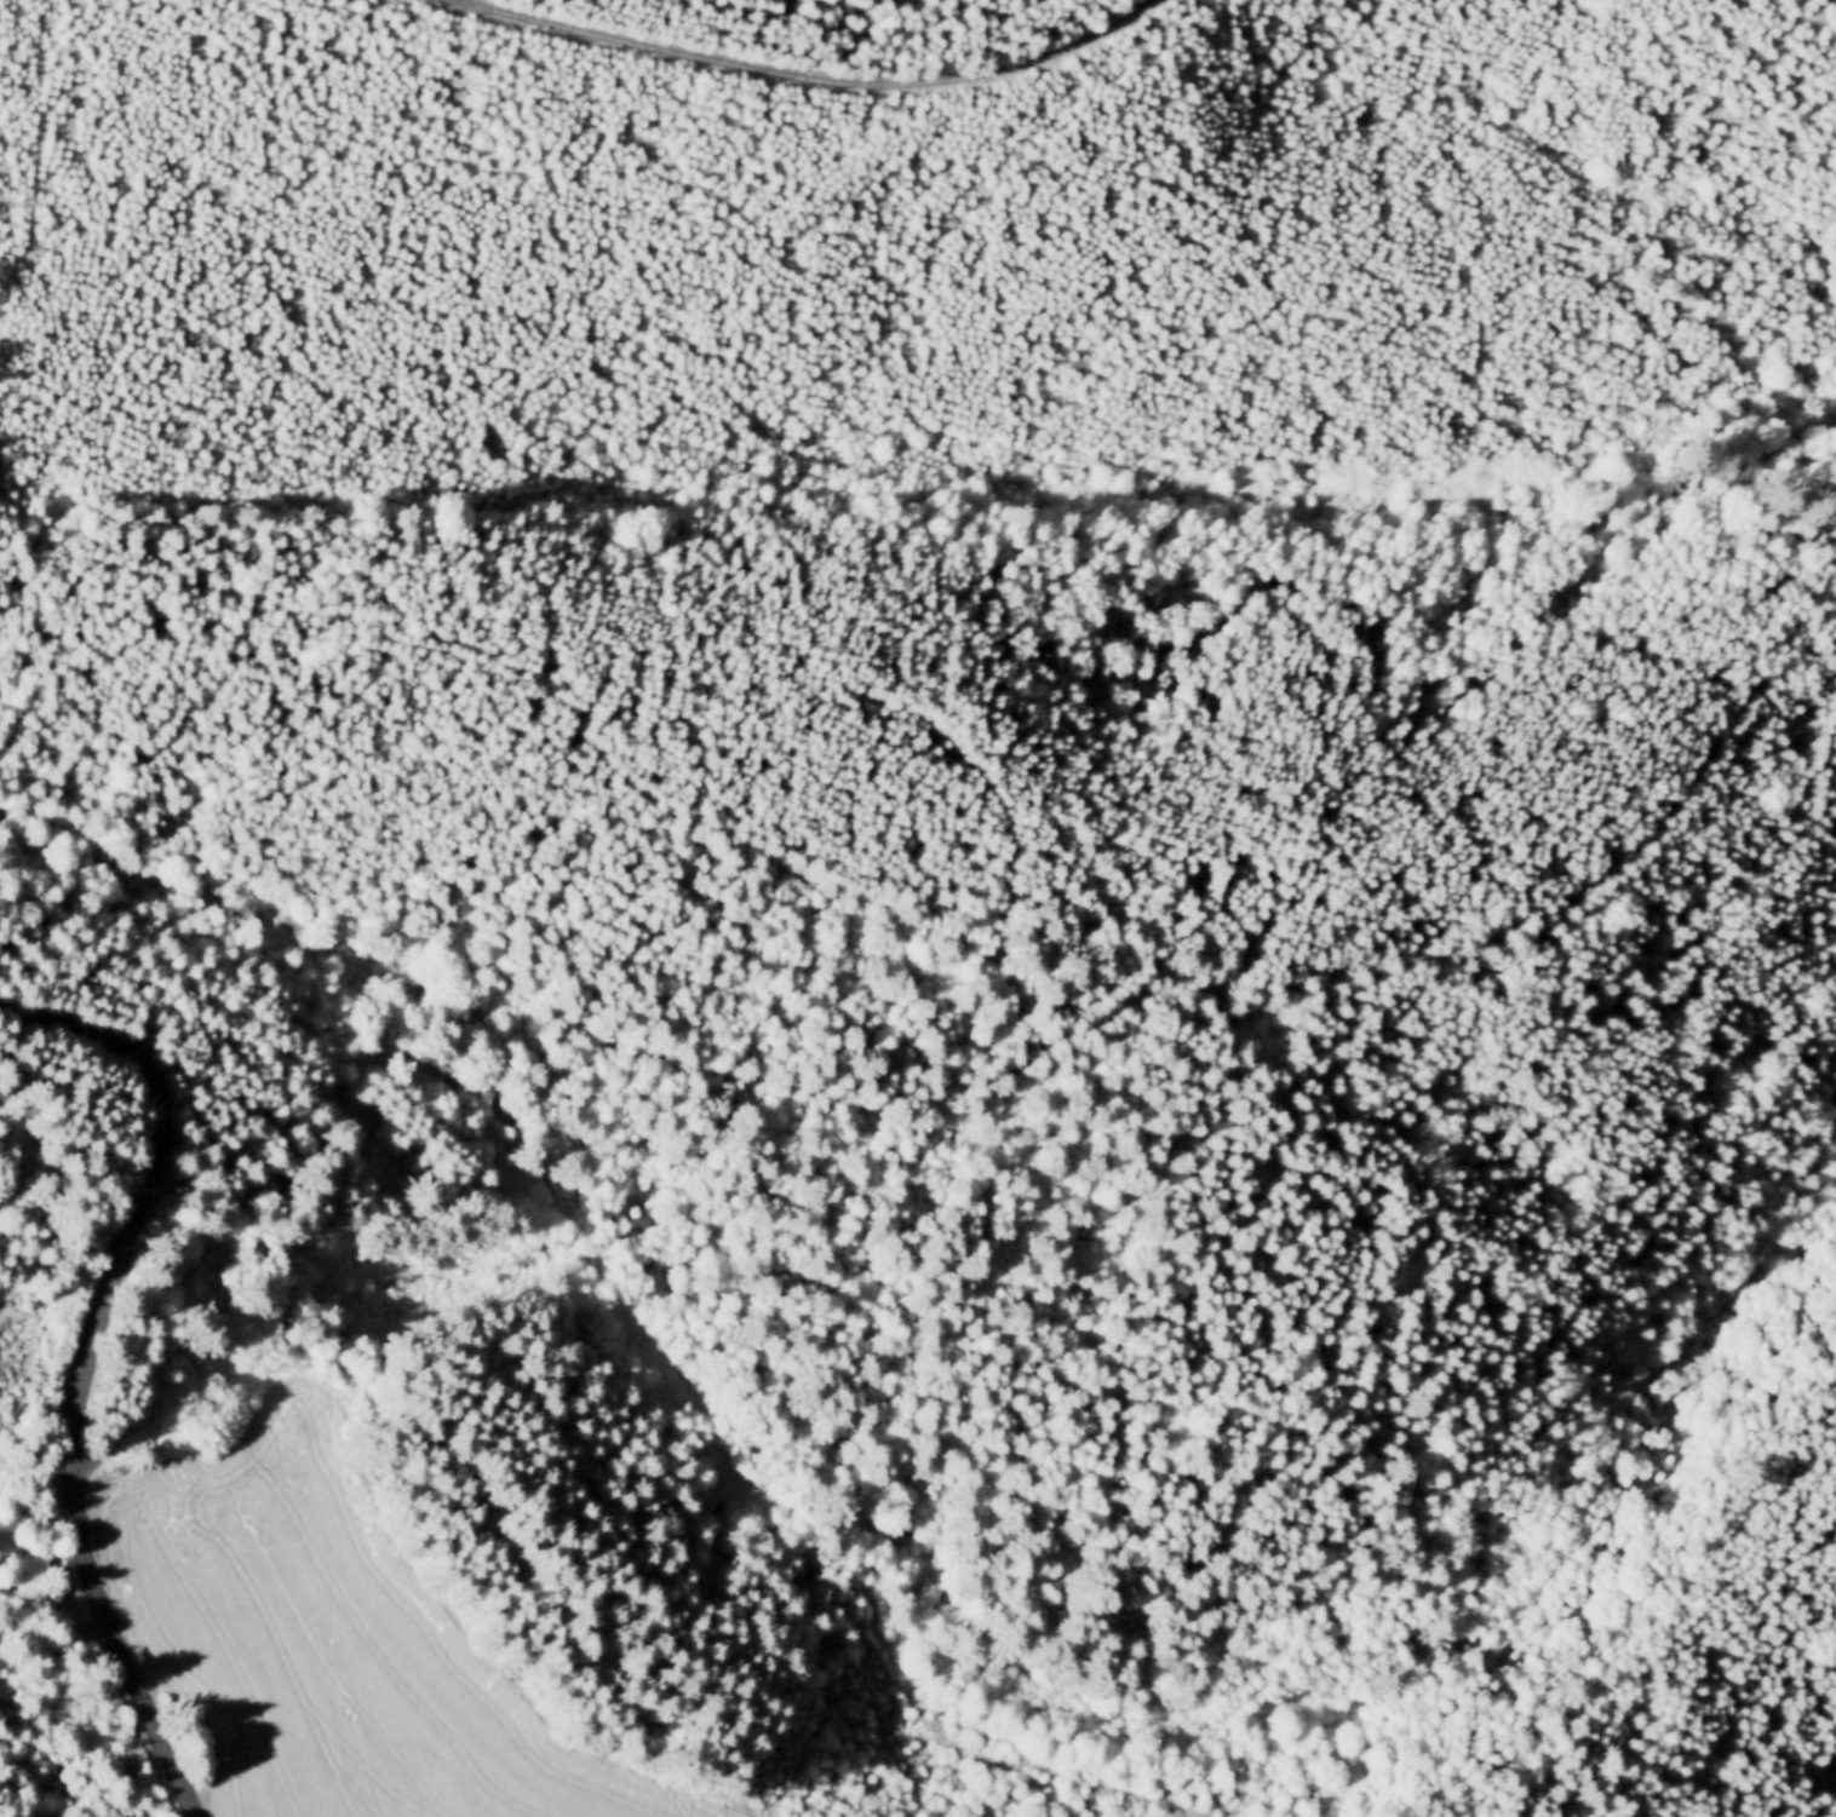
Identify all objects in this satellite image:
road: (797, 77)
road: (568, 708)
road: (1010, 838)
road: (239, 914)
road: (1061, 1040)
road: (1216, 1240)
road: (591, 1243)
road: (86, 1370)
road: (1250, 1466)
crop: (311, 1648)
road: (1671, 1651)
road: (1818, 1786)

